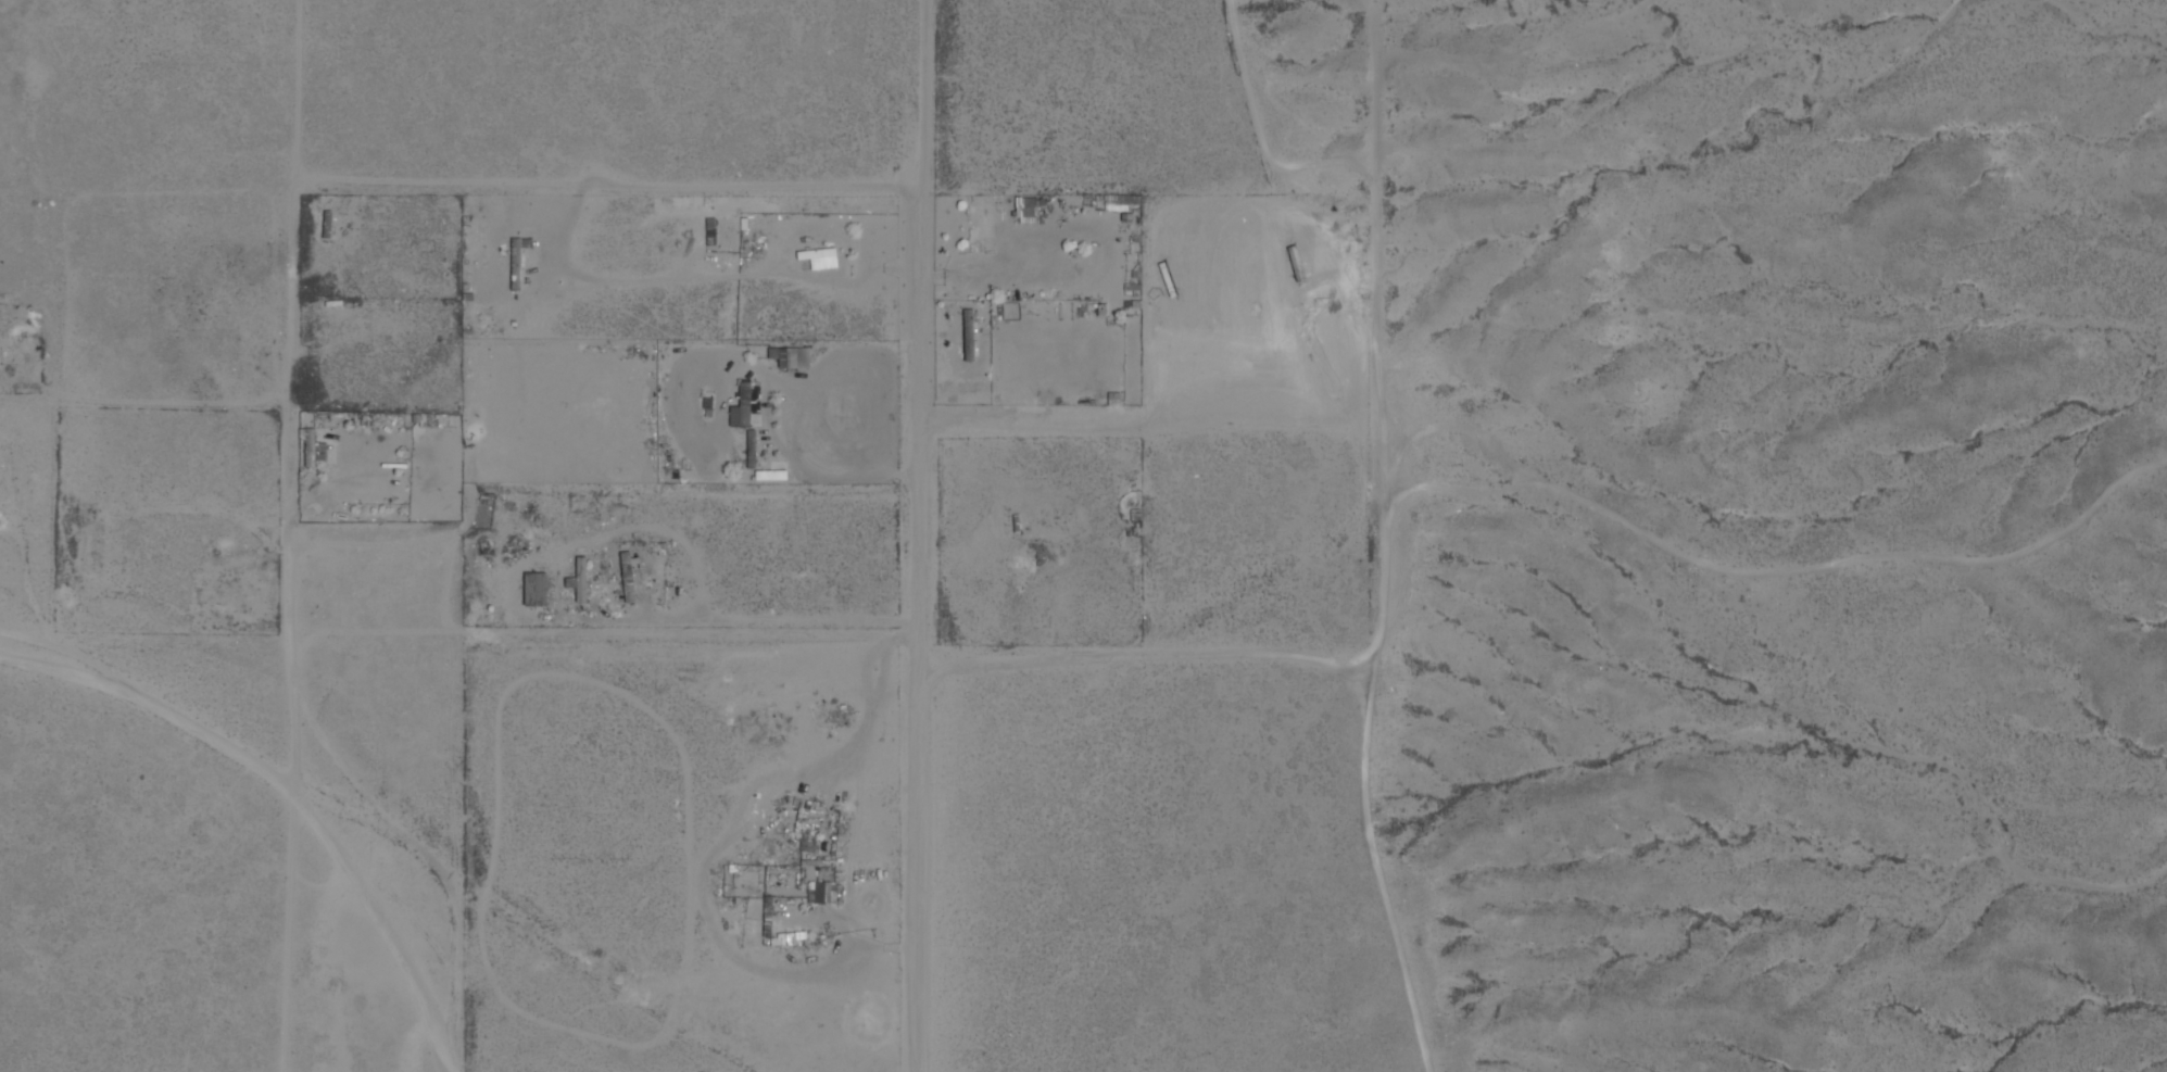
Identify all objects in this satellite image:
road: (310, 180)
building: (1026, 212)
building: (326, 225)
building: (980, 226)
building: (817, 258)
building: (968, 337)
building: (942, 343)
building: (789, 358)
building: (740, 409)
building: (429, 421)
building: (338, 425)
building: (312, 452)
building: (667, 454)
building: (769, 476)
road: (1374, 530)
road: (924, 535)
building: (77, 544)
building: (626, 577)
building: (579, 588)
building: (533, 590)
road: (607, 632)
road: (1149, 651)
road: (398, 835)
building: (823, 893)
building: (766, 918)
road: (383, 925)
building: (792, 995)

